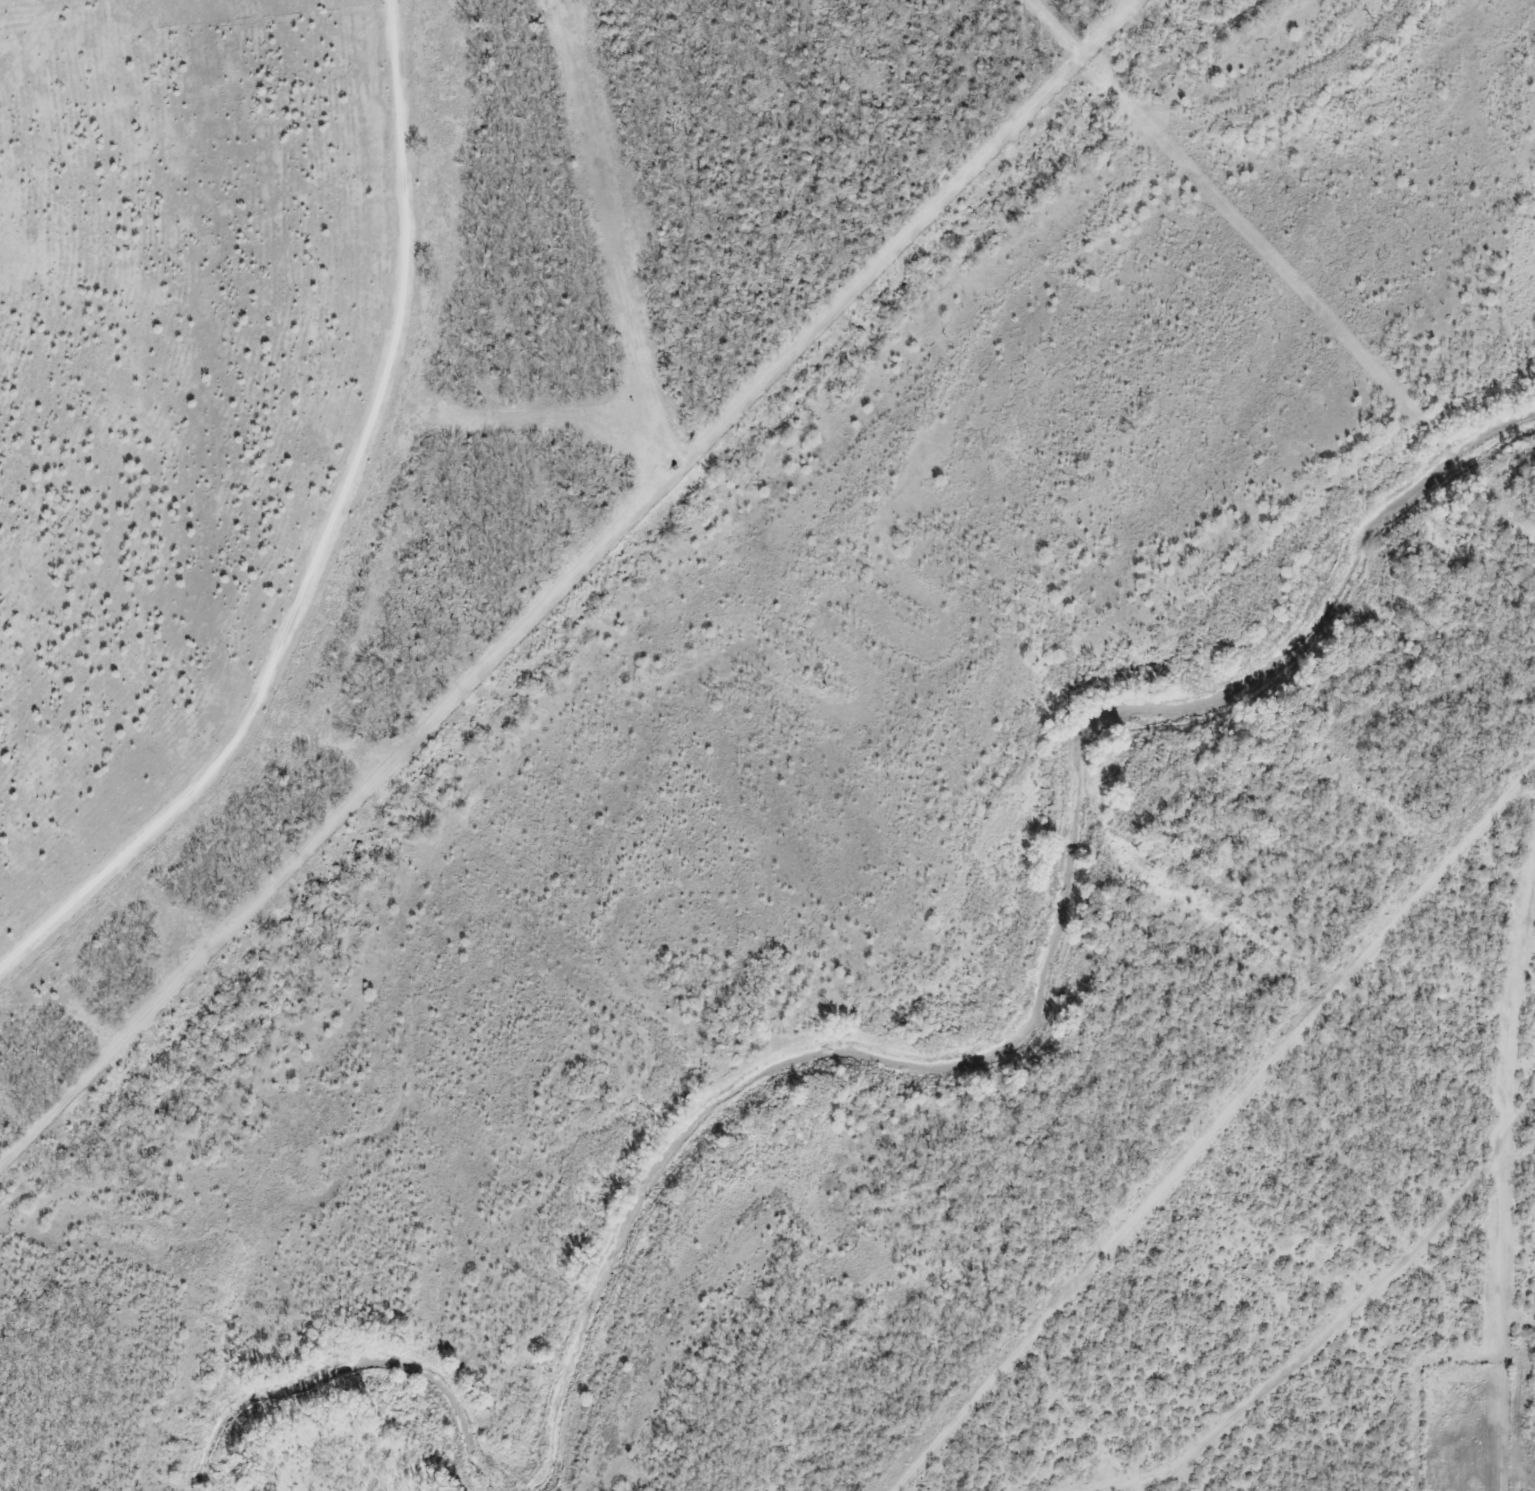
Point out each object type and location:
road: (321, 535)
river: (1041, 995)
road: (1362, 1316)

